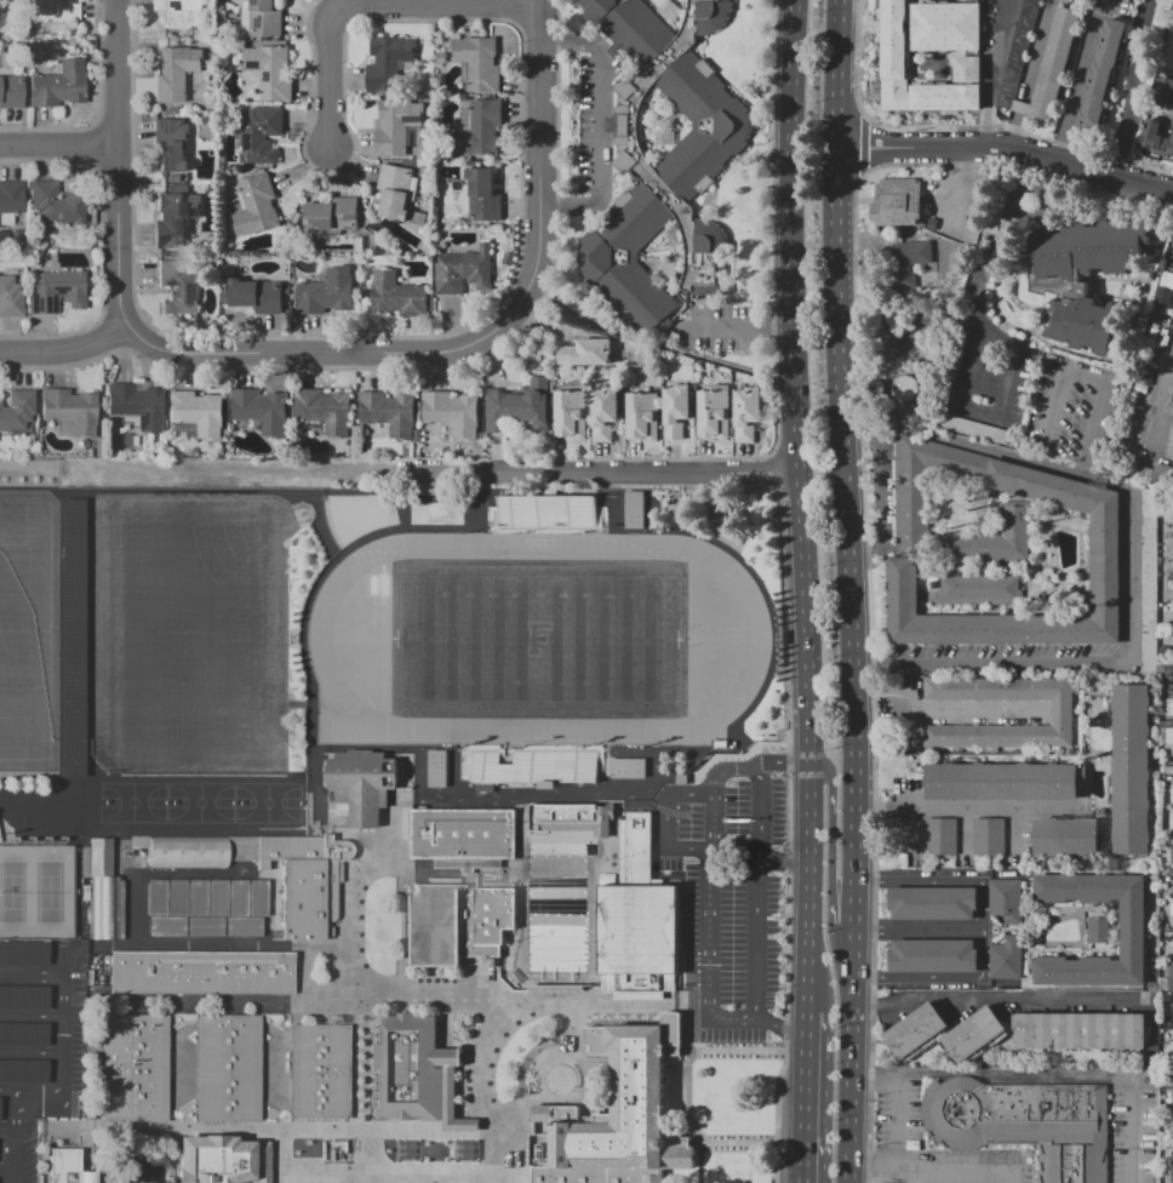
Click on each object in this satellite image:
building: (977, 0)
building: (979, 0)
road: (370, 2)
building: (0, 5)
building: (55, 10)
building: (181, 12)
building: (1160, 13)
building: (265, 18)
road: (570, 42)
building: (896, 53)
building: (1015, 53)
building: (440, 57)
road: (856, 58)
building: (388, 61)
building: (477, 63)
building: (1054, 63)
road: (992, 72)
building: (176, 73)
building: (270, 73)
building: (1102, 74)
building: (58, 86)
road: (1133, 87)
building: (1163, 91)
building: (10, 92)
road: (1070, 92)
road: (1169, 114)
building: (396, 125)
road: (601, 125)
building: (481, 130)
building: (259, 135)
building: (1151, 135)
building: (1168, 143)
building: (172, 144)
road: (58, 145)
road: (862, 145)
road: (1006, 145)
road: (965, 158)
road: (539, 162)
road: (118, 164)
building: (675, 171)
building: (394, 190)
building: (482, 195)
building: (463, 196)
building: (11, 198)
road: (960, 198)
building: (897, 201)
building: (56, 202)
building: (256, 206)
road: (571, 206)
building: (331, 215)
building: (174, 218)
building: (931, 223)
road: (769, 224)
building: (921, 225)
building: (16, 236)
building: (1089, 248)
building: (911, 259)
building: (1172, 265)
building: (463, 270)
building: (1165, 288)
building: (178, 290)
building: (327, 291)
building: (57, 292)
building: (397, 295)
building: (257, 296)
building: (10, 298)
building: (1085, 325)
road: (742, 326)
road: (647, 343)
road: (65, 347)
road: (972, 352)
road: (319, 353)
building: (585, 353)
road: (1080, 376)
building: (906, 388)
building: (136, 405)
building: (519, 406)
building: (17, 410)
building: (70, 410)
building: (261, 410)
building: (675, 410)
building: (325, 411)
building: (196, 412)
building: (389, 412)
building: (452, 412)
building: (605, 412)
building: (746, 412)
building: (570, 413)
building: (713, 415)
building: (642, 417)
road: (859, 424)
building: (974, 429)
road: (840, 445)
building: (82, 451)
road: (1006, 452)
road: (776, 467)
road: (241, 472)
road: (642, 473)
road: (879, 485)
road: (802, 505)
building: (634, 509)
building: (544, 510)
park: (347, 519)
park: (233, 542)
building: (995, 548)
road: (862, 556)
building: (1148, 575)
building: (979, 590)
park: (24, 630)
park: (185, 631)
stadium: (188, 631)
park: (187, 633)
track: (317, 635)
park: (537, 638)
building: (71, 639)
park: (537, 639)
track: (383, 646)
track: (372, 650)
road: (1095, 658)
road: (869, 659)
park: (18, 668)
building: (1169, 671)
road: (870, 679)
road: (940, 710)
building: (1060, 713)
road: (753, 761)
building: (537, 766)
building: (437, 768)
building: (628, 768)
building: (1131, 770)
road: (419, 772)
building: (1001, 781)
building: (360, 783)
road: (533, 795)
park: (132, 802)
park: (199, 802)
park: (265, 802)
road: (963, 807)
building: (572, 818)
road: (710, 822)
road: (663, 823)
park: (23, 825)
park: (39, 825)
park: (55, 825)
road: (831, 828)
road: (788, 834)
building: (939, 836)
building: (988, 836)
building: (1066, 836)
road: (356, 844)
building: (1172, 850)
building: (187, 852)
road: (733, 852)
road: (784, 861)
road: (350, 876)
building: (303, 881)
road: (755, 882)
building: (1172, 886)
building: (442, 887)
park: (35, 891)
building: (104, 893)
parking lot: (729, 895)
building: (174, 896)
building: (154, 897)
building: (194, 897)
building: (214, 897)
building: (234, 897)
building: (254, 898)
building: (1006, 899)
building: (933, 902)
road: (854, 909)
building: (637, 921)
building: (165, 925)
building: (202, 925)
building: (240, 925)
road: (917, 928)
road: (982, 930)
building: (1098, 930)
building: (1133, 930)
road: (173, 947)
building: (22, 951)
building: (933, 955)
building: (1006, 958)
road: (64, 962)
building: (202, 973)
road: (32, 975)
road: (706, 984)
building: (1172, 989)
road: (999, 996)
building: (23, 998)
road: (514, 999)
road: (227, 1004)
road: (32, 1017)
building: (1080, 1030)
building: (915, 1031)
building: (973, 1033)
building: (22, 1034)
parking lot: (38, 1044)
road: (736, 1048)
road: (32, 1053)
road: (853, 1056)
road: (533, 1059)
road: (64, 1061)
road: (480, 1064)
road: (687, 1067)
road: (95, 1068)
building: (135, 1068)
building: (227, 1068)
building: (22, 1070)
building: (316, 1071)
building: (413, 1071)
road: (1075, 1075)
road: (359, 1082)
building: (1172, 1086)
road: (6, 1093)
road: (808, 1097)
building: (614, 1115)
building: (1022, 1122)
road: (909, 1125)
road: (6, 1130)
road: (271, 1131)
road: (12, 1138)
road: (18, 1139)
road: (737, 1142)
building: (407, 1149)
road: (279, 1151)
road: (174, 1156)
building: (219, 1160)
road: (507, 1161)
road: (698, 1162)
building: (1172, 1162)
building: (67, 1167)
road: (5, 1170)
road: (393, 1175)
road: (965, 1176)
road: (356, 1178)
road: (485, 1179)

